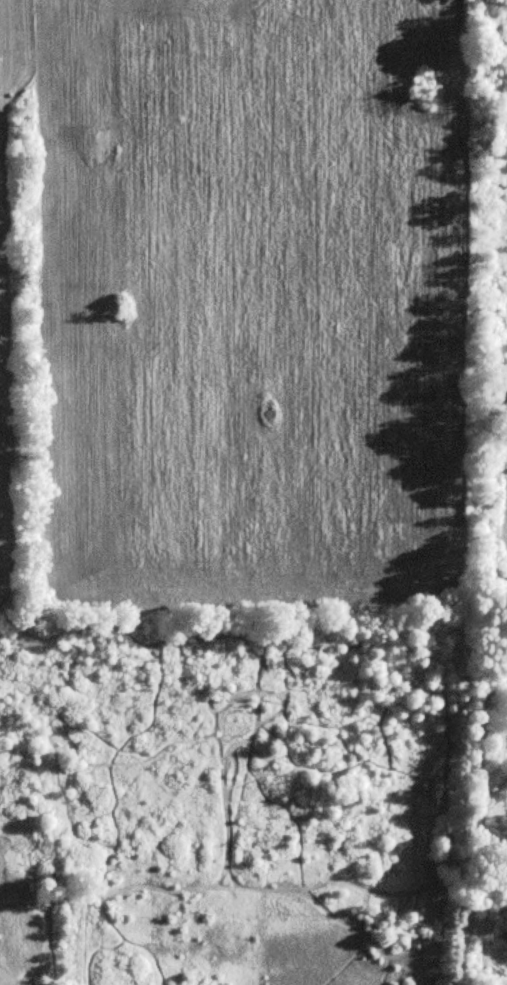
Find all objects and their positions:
building: (497, 397)

